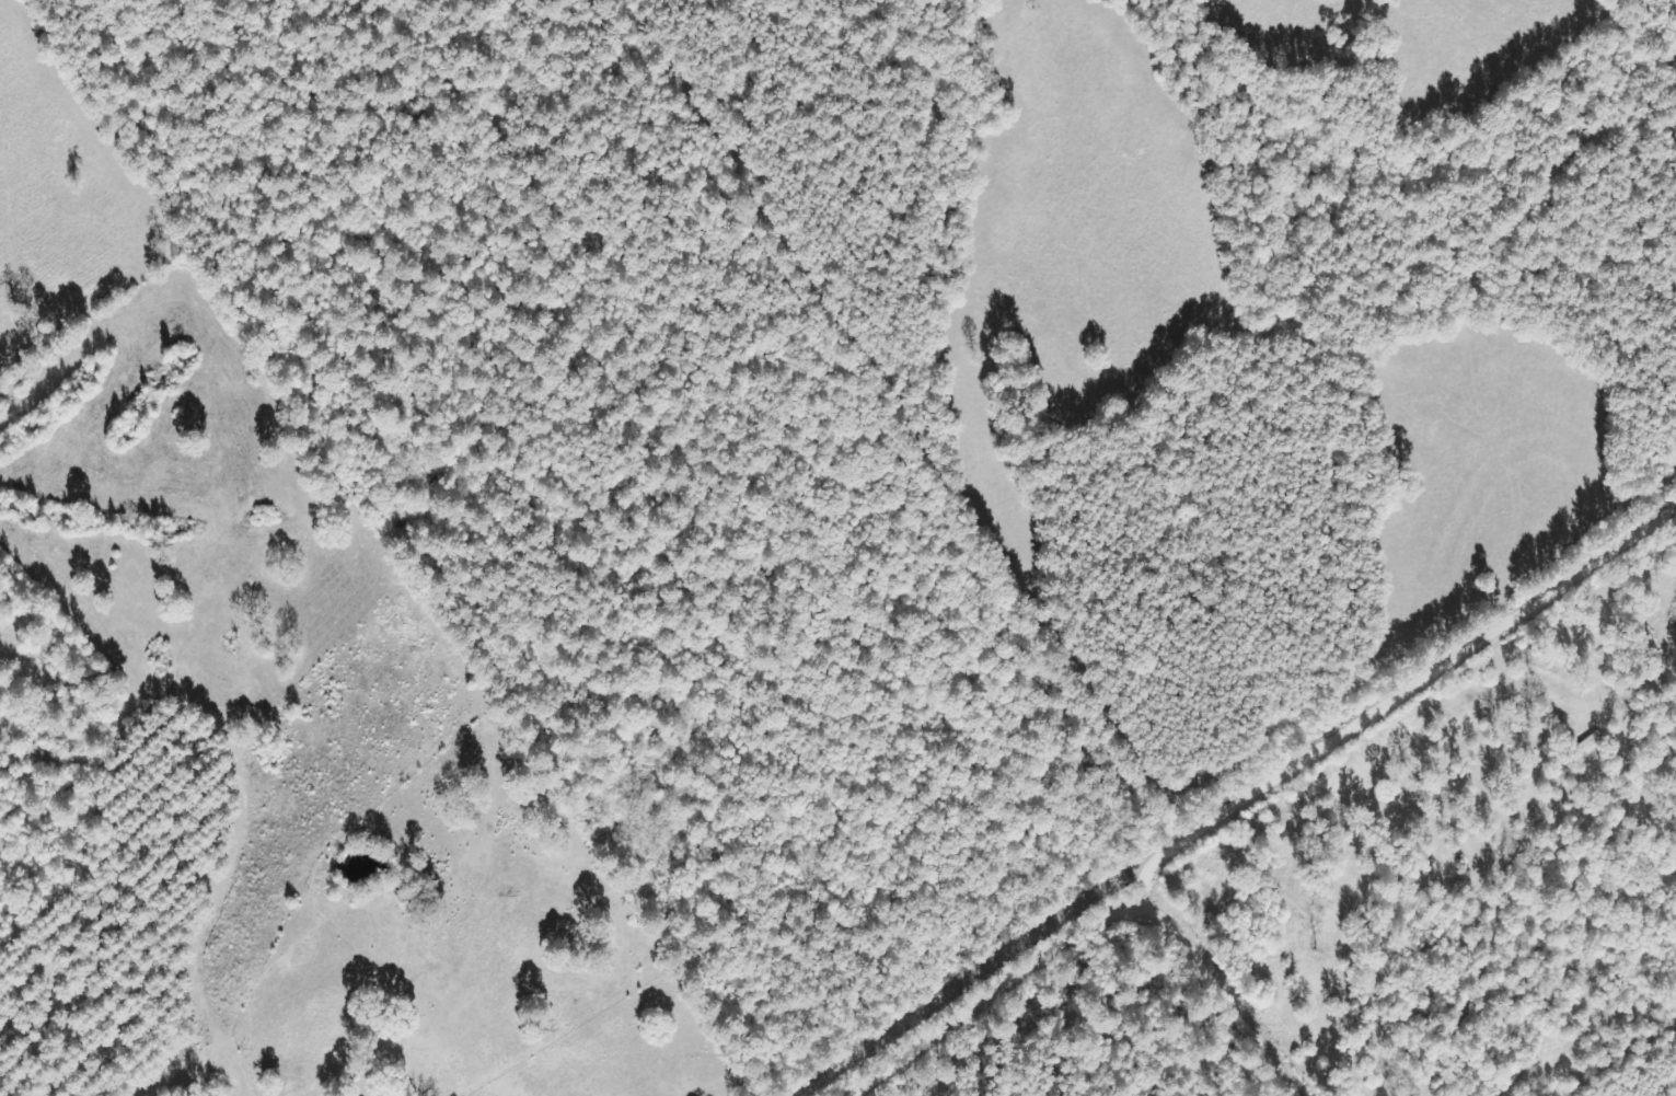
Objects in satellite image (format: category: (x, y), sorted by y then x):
road: (1372, 719)
road: (1066, 919)

